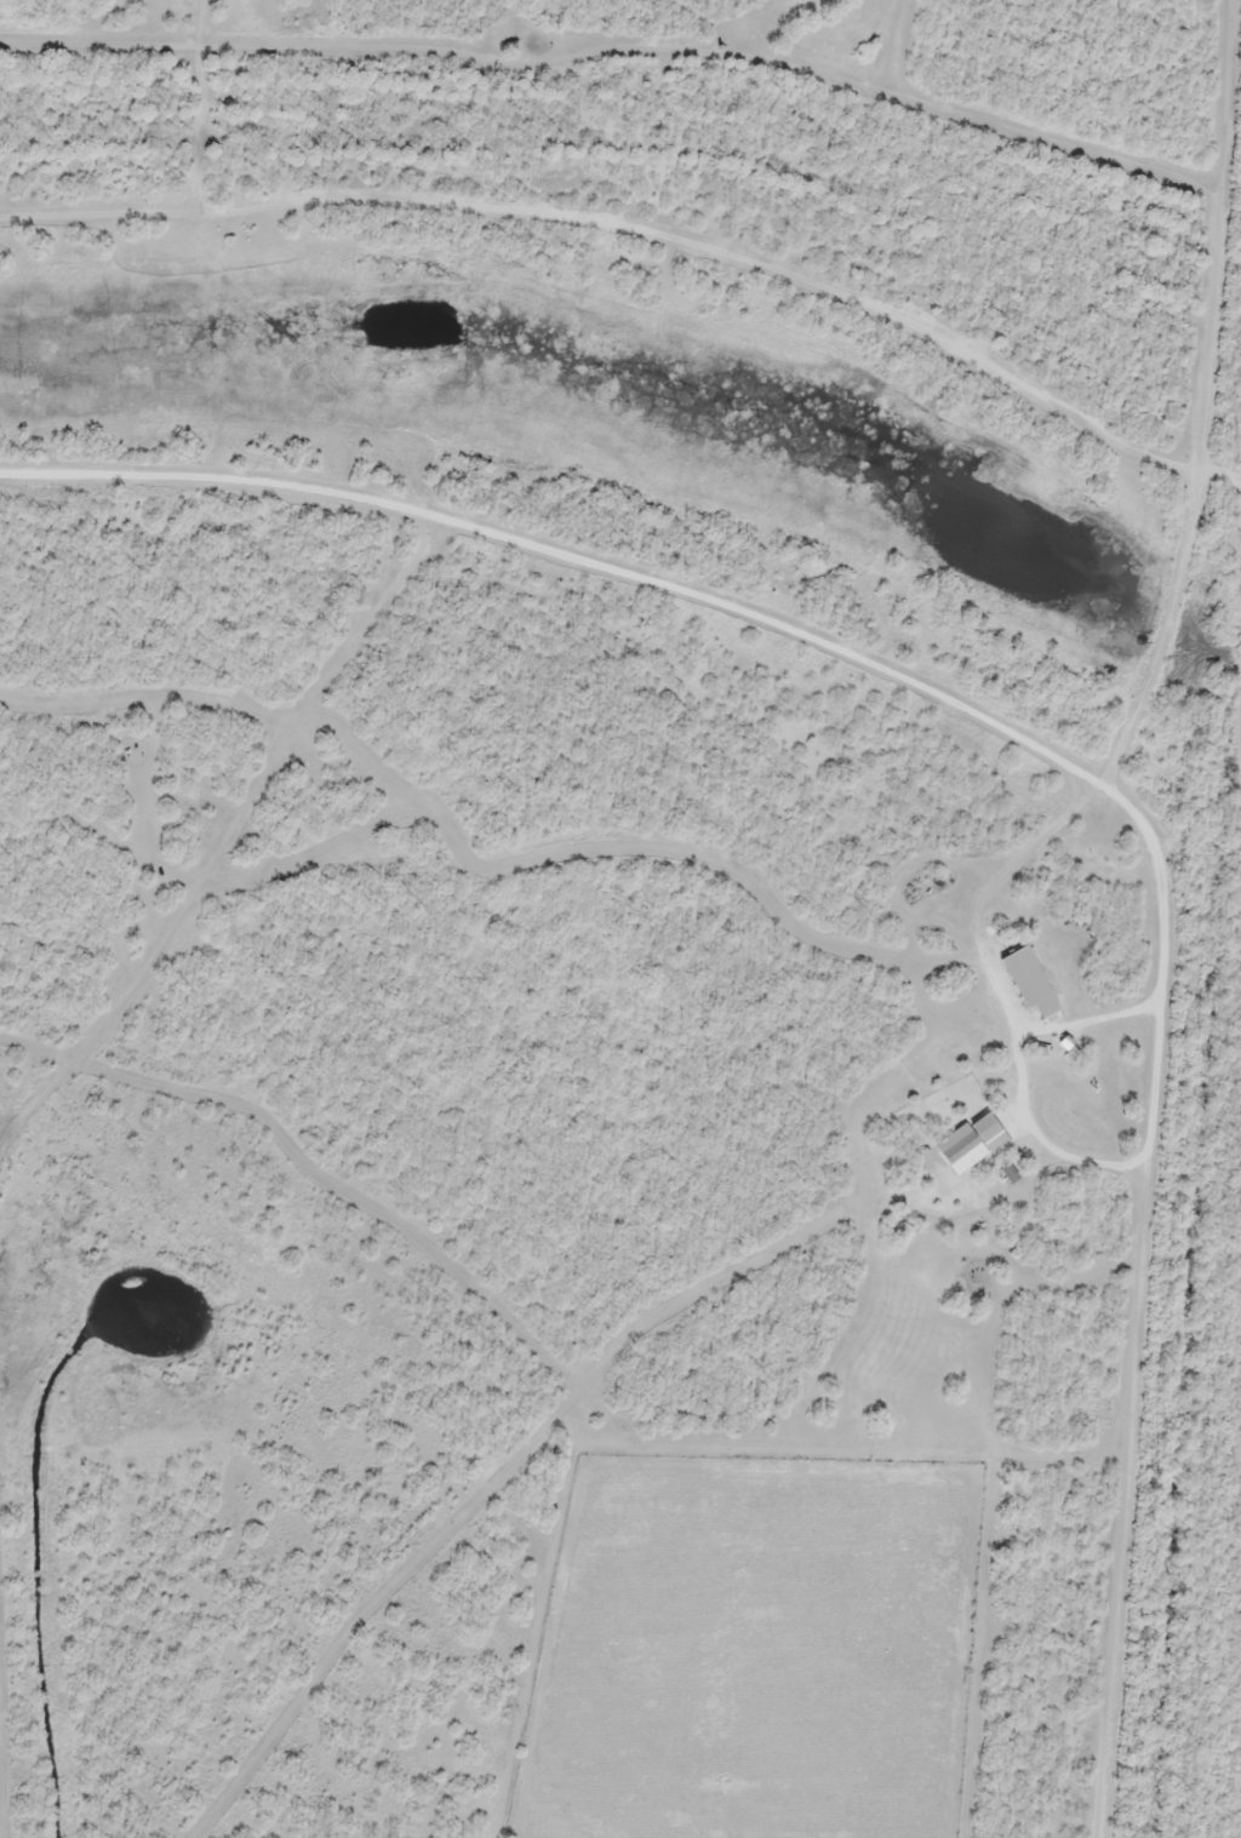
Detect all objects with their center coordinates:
building: (1026, 980)
building: (971, 1143)
road: (67, 1283)

